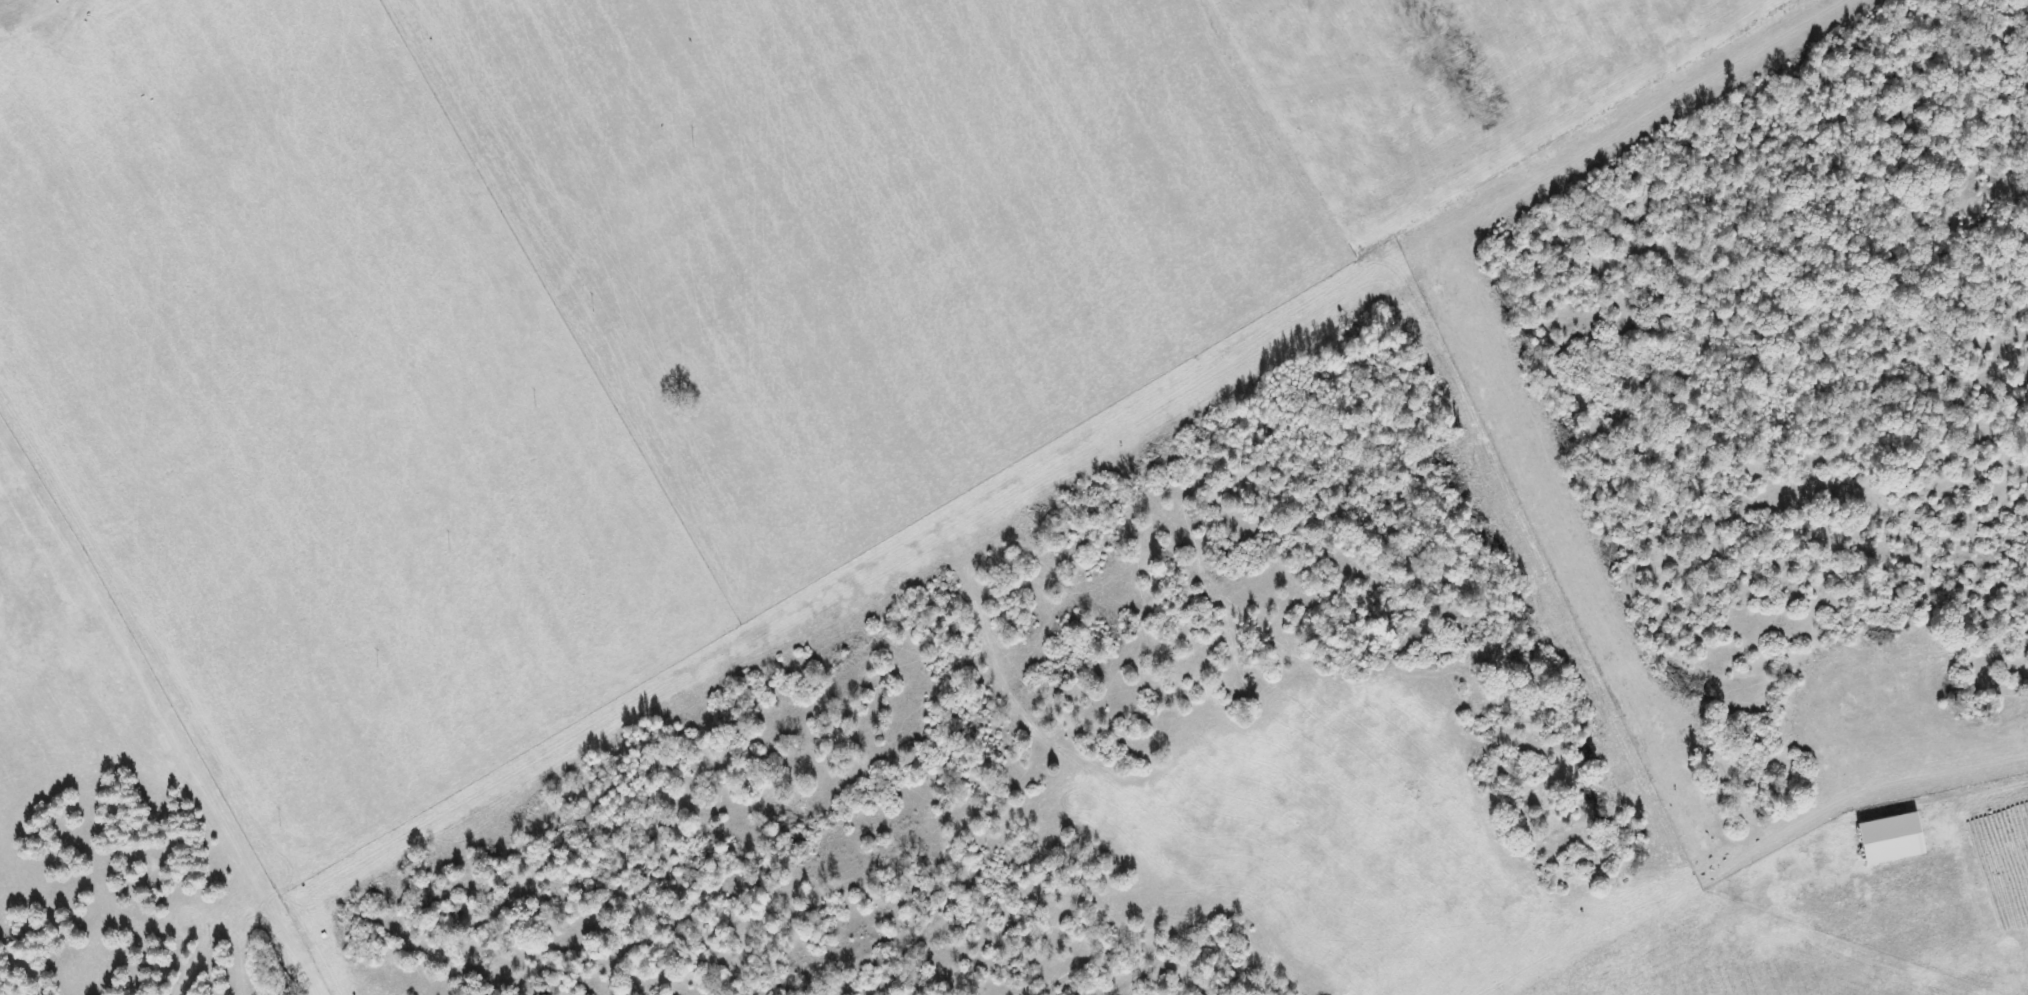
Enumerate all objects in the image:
road: (1021, 441)
building: (1893, 838)

